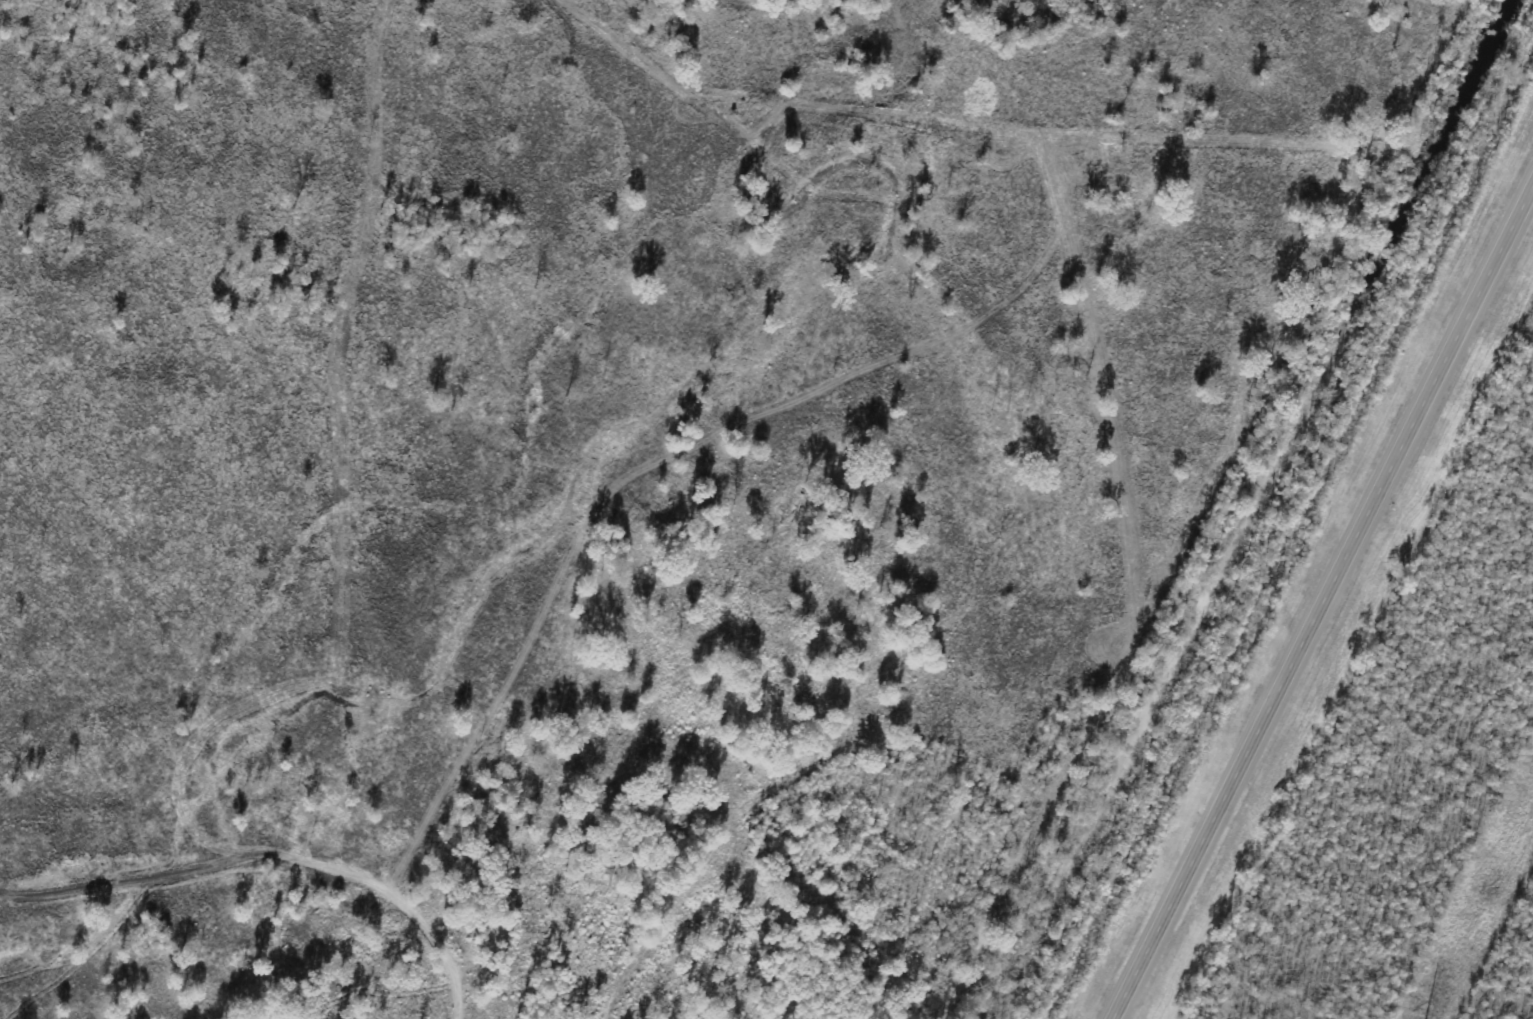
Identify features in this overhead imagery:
road: (1330, 597)

